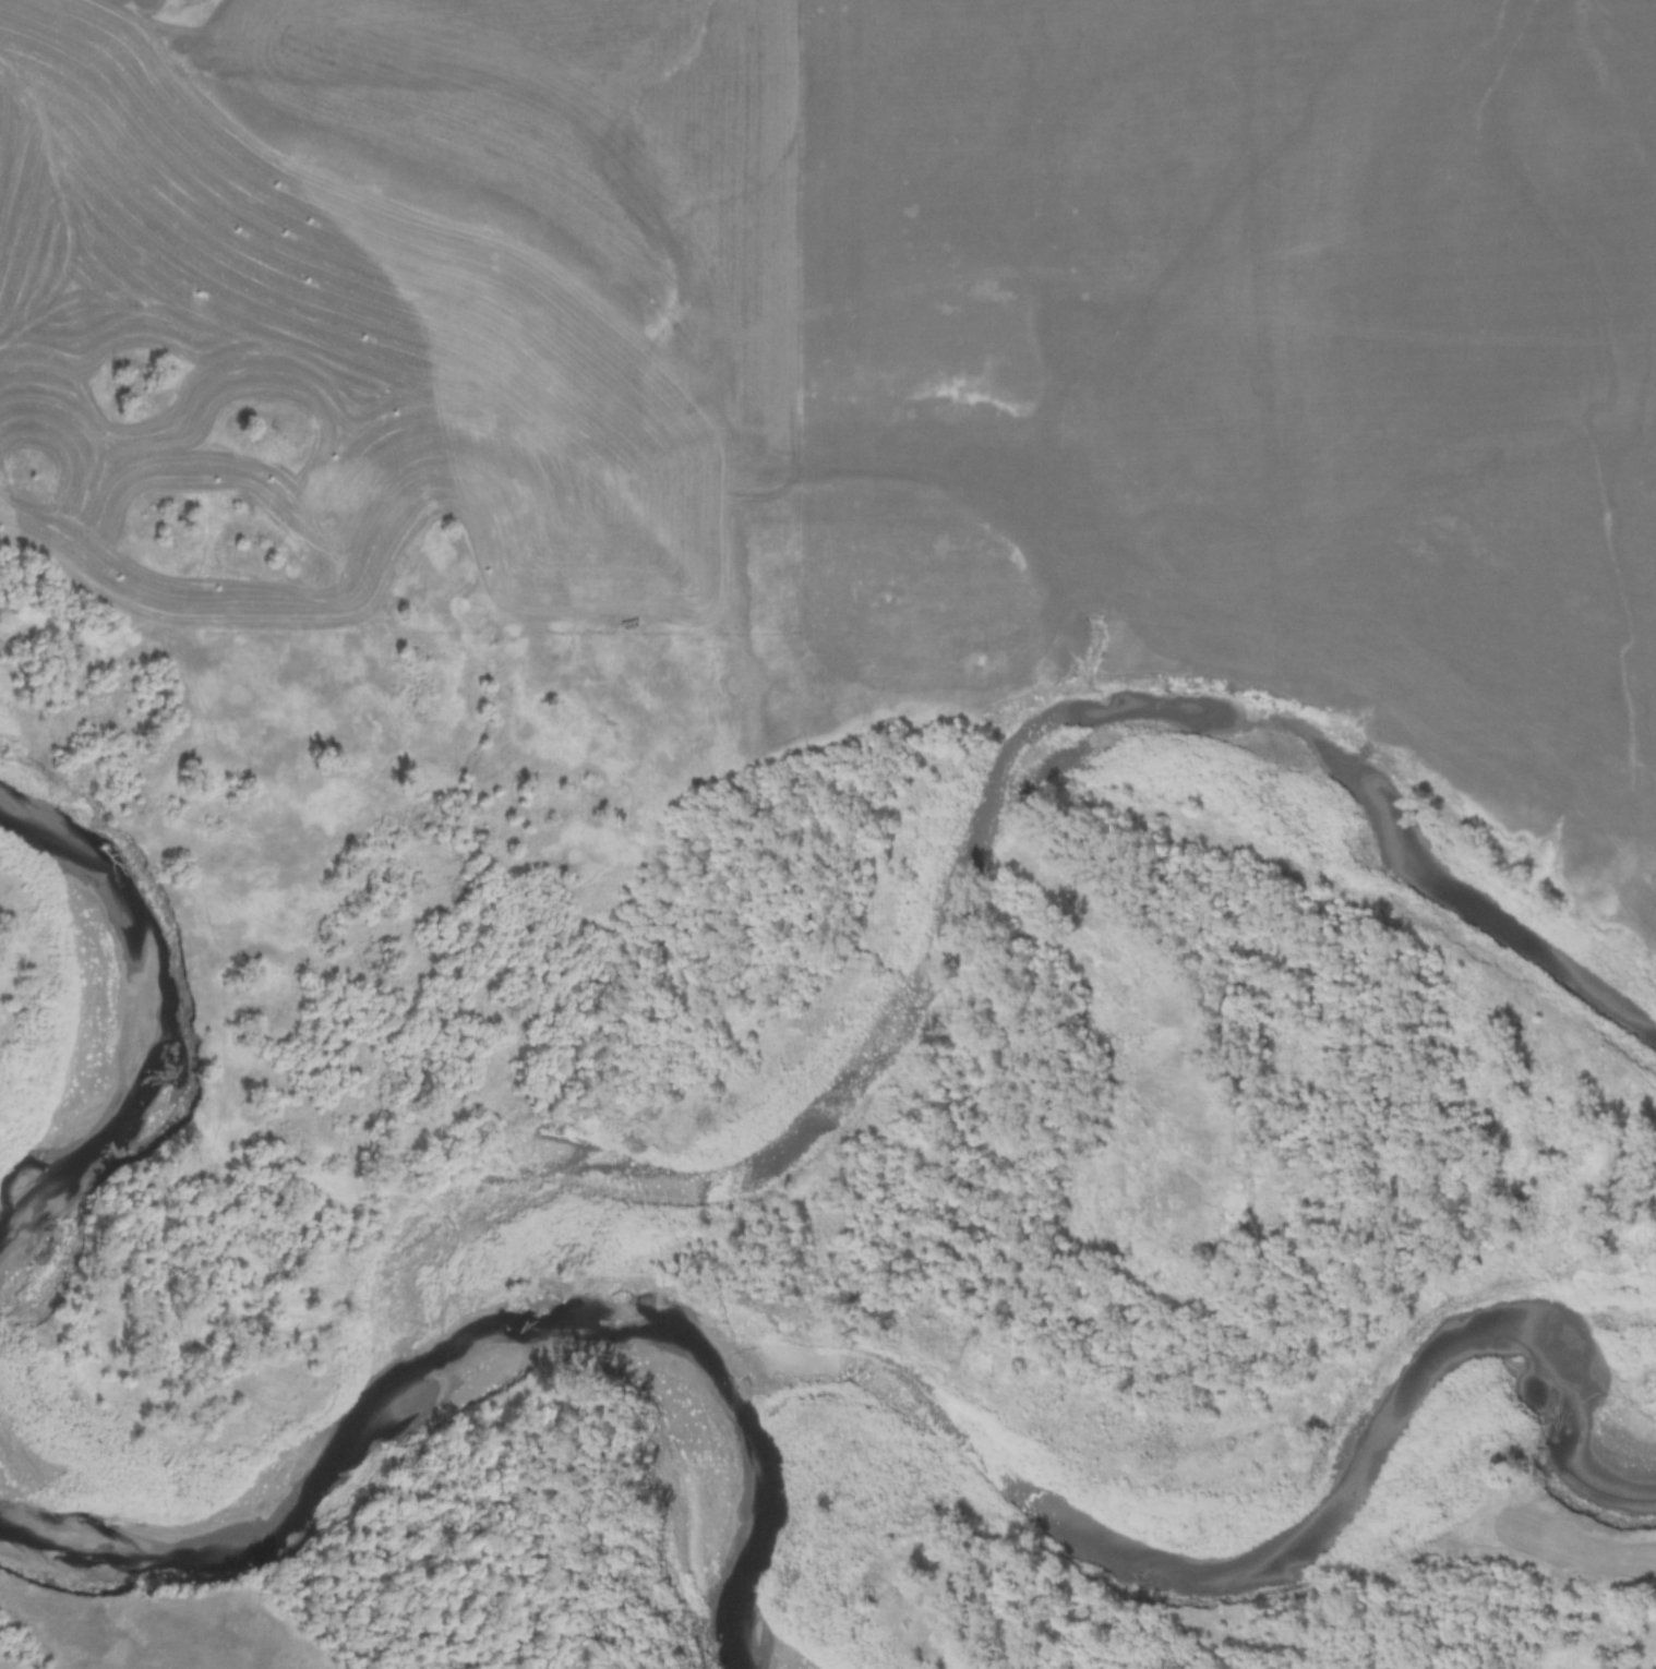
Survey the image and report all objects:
river: (86, 1005)
river: (864, 1052)
river: (1631, 1413)
river: (1063, 1516)

